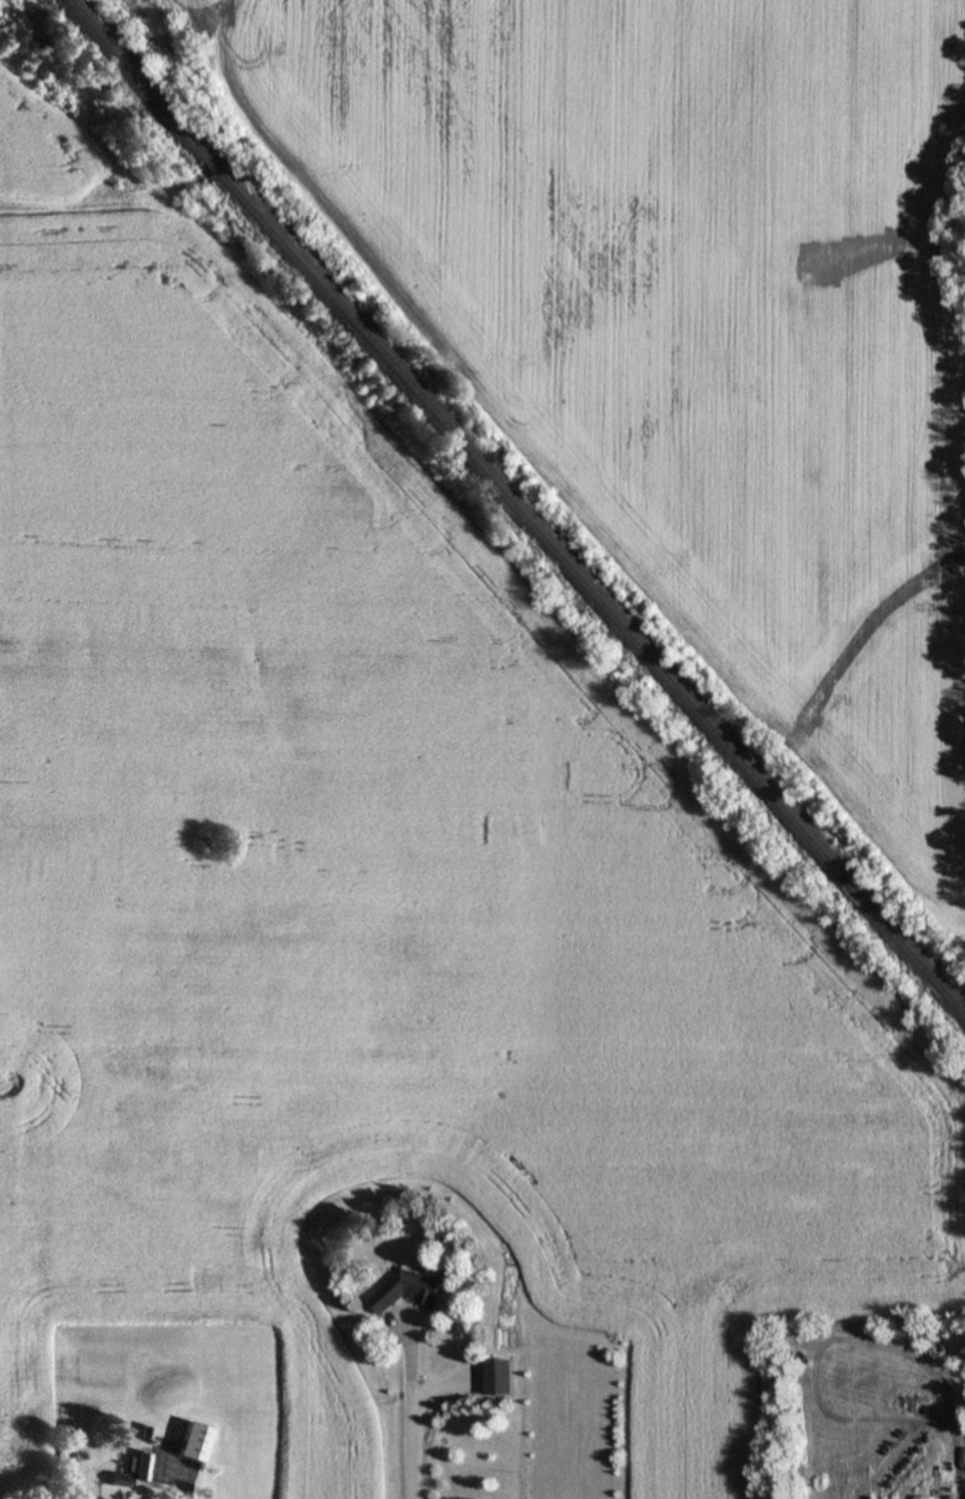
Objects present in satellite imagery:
railway: (135, 80)
railway: (213, 168)
railway: (592, 596)
building: (405, 1290)
building: (498, 1376)
road: (408, 1419)

